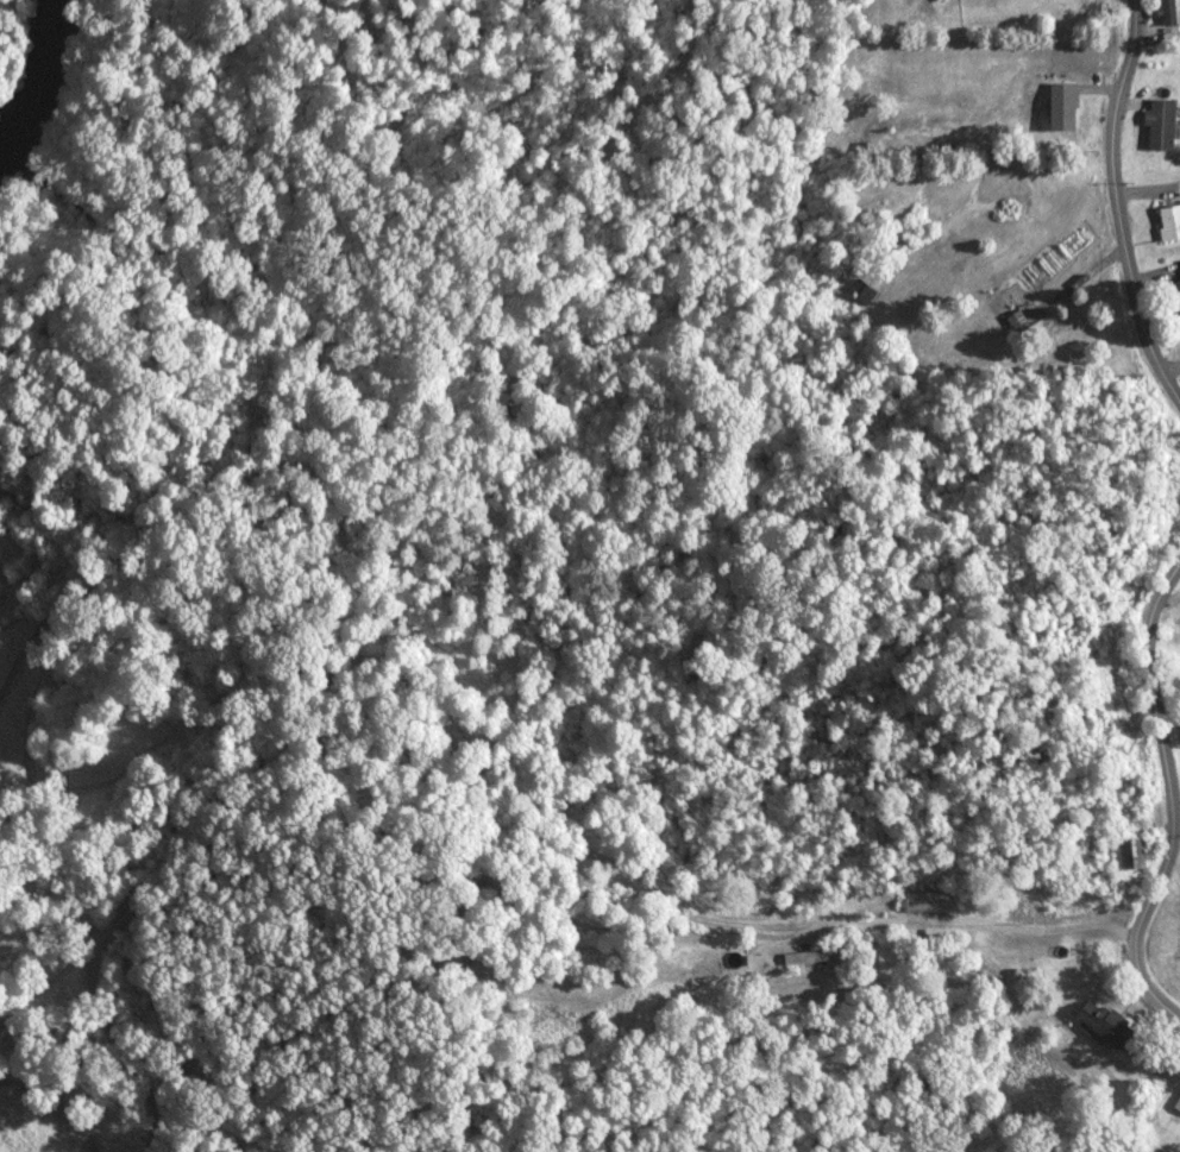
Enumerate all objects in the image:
building: (936, 0)
building: (1169, 12)
river: (31, 63)
building: (1063, 107)
building: (1161, 126)
road: (1119, 204)
building: (1170, 222)
building: (861, 290)
building: (1178, 291)
building: (1011, 307)
road: (1173, 364)
road: (1174, 795)
building: (1123, 856)
building: (927, 904)
road: (952, 937)
building: (811, 958)
building: (1107, 1024)
building: (1178, 1106)
road: (1157, 1116)

